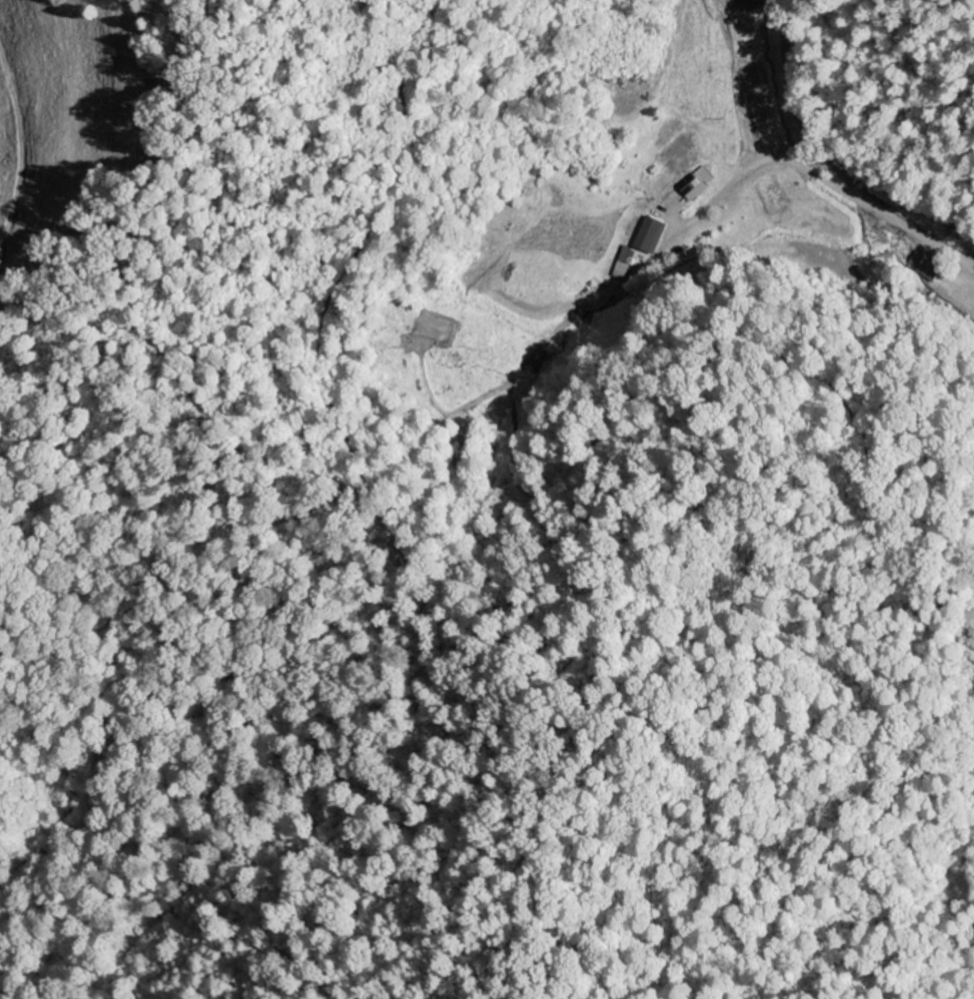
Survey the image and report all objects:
building: (695, 185)
building: (648, 236)
building: (916, 262)
building: (620, 265)

